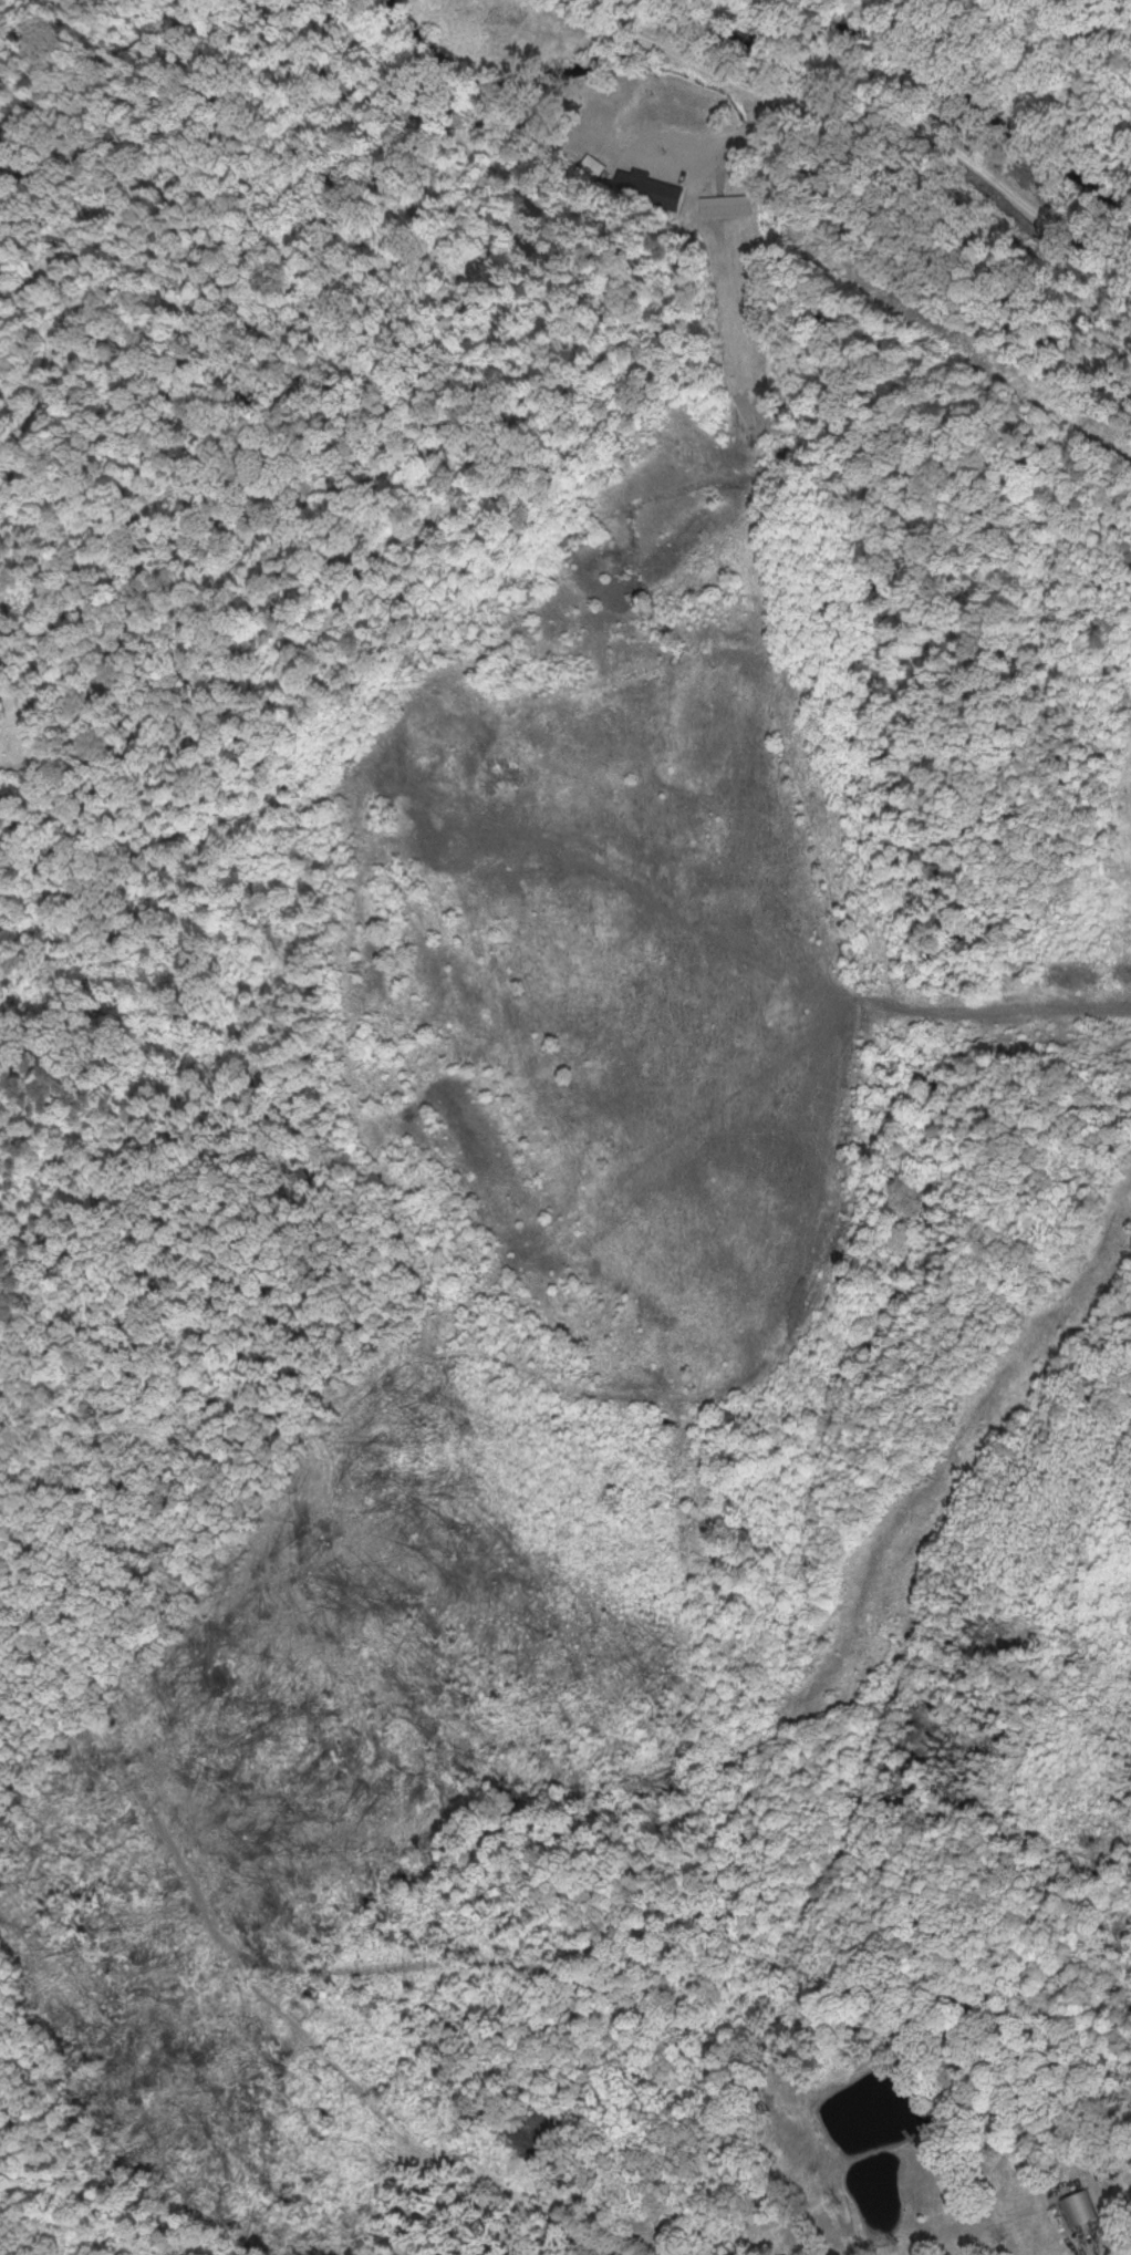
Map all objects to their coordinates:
road: (633, 33)
road: (927, 134)
building: (599, 165)
building: (655, 186)
building: (733, 203)

